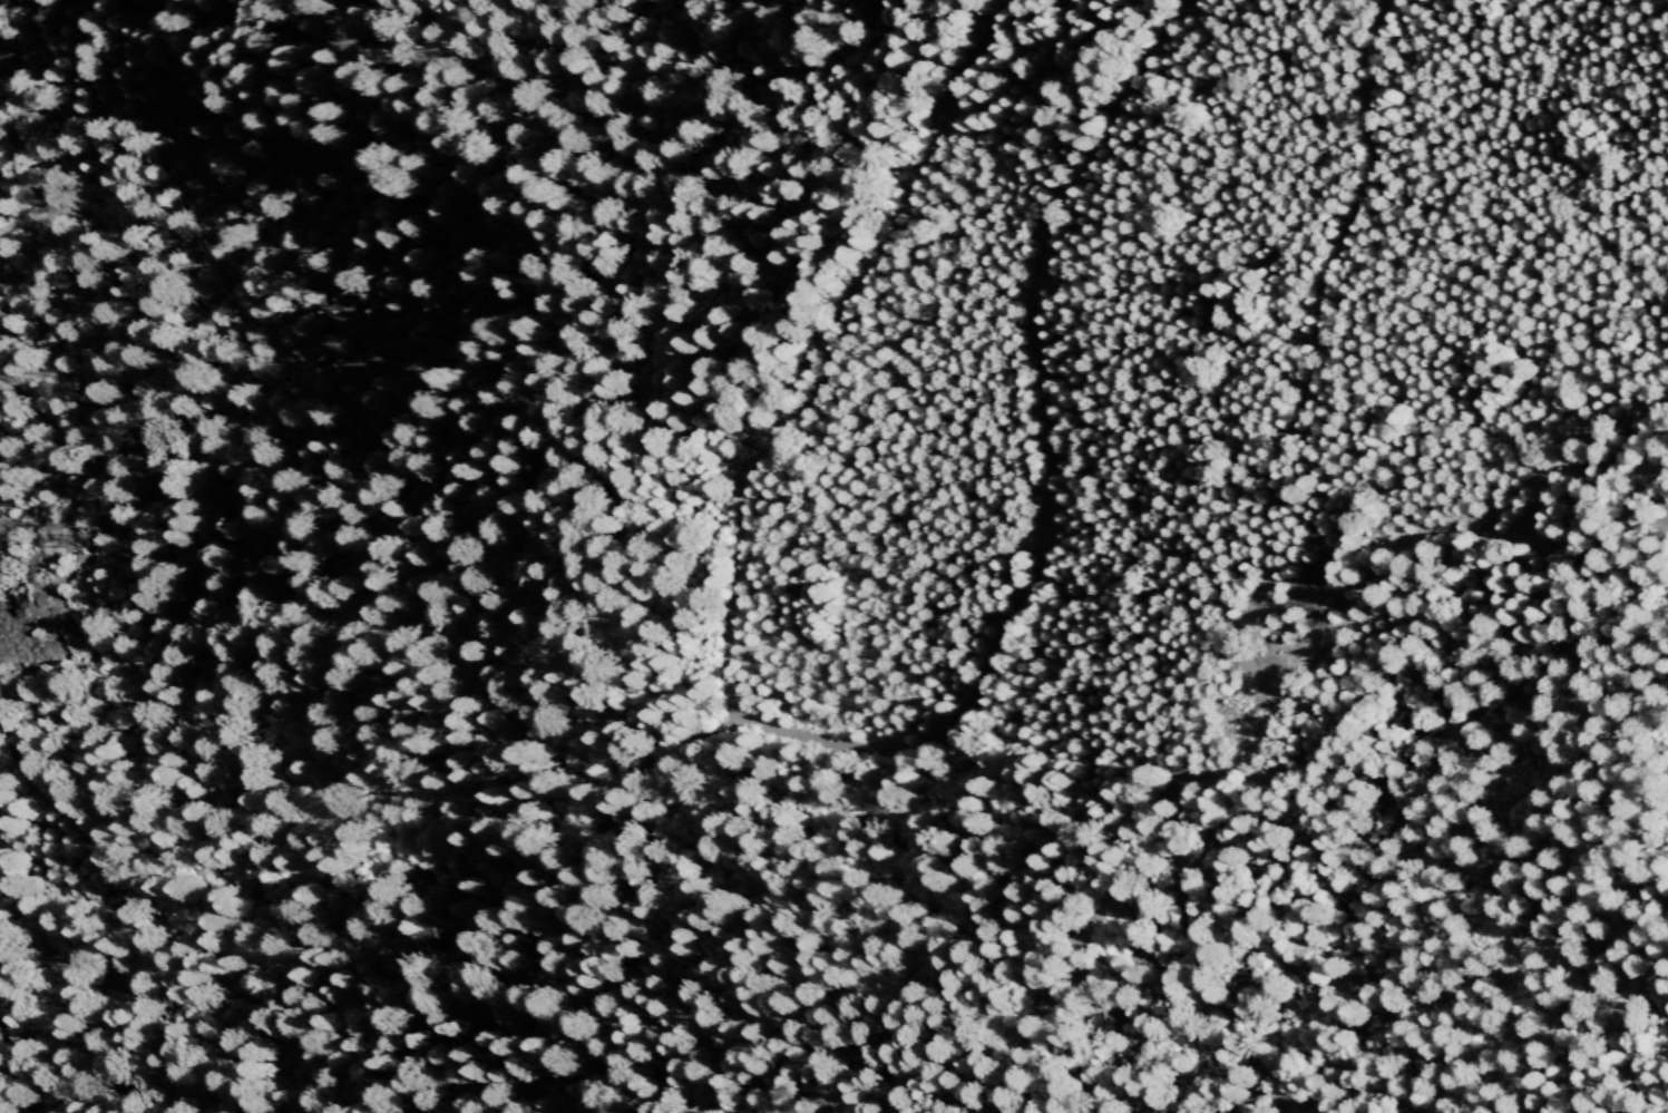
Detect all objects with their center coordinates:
road: (817, 355)
road: (832, 745)

